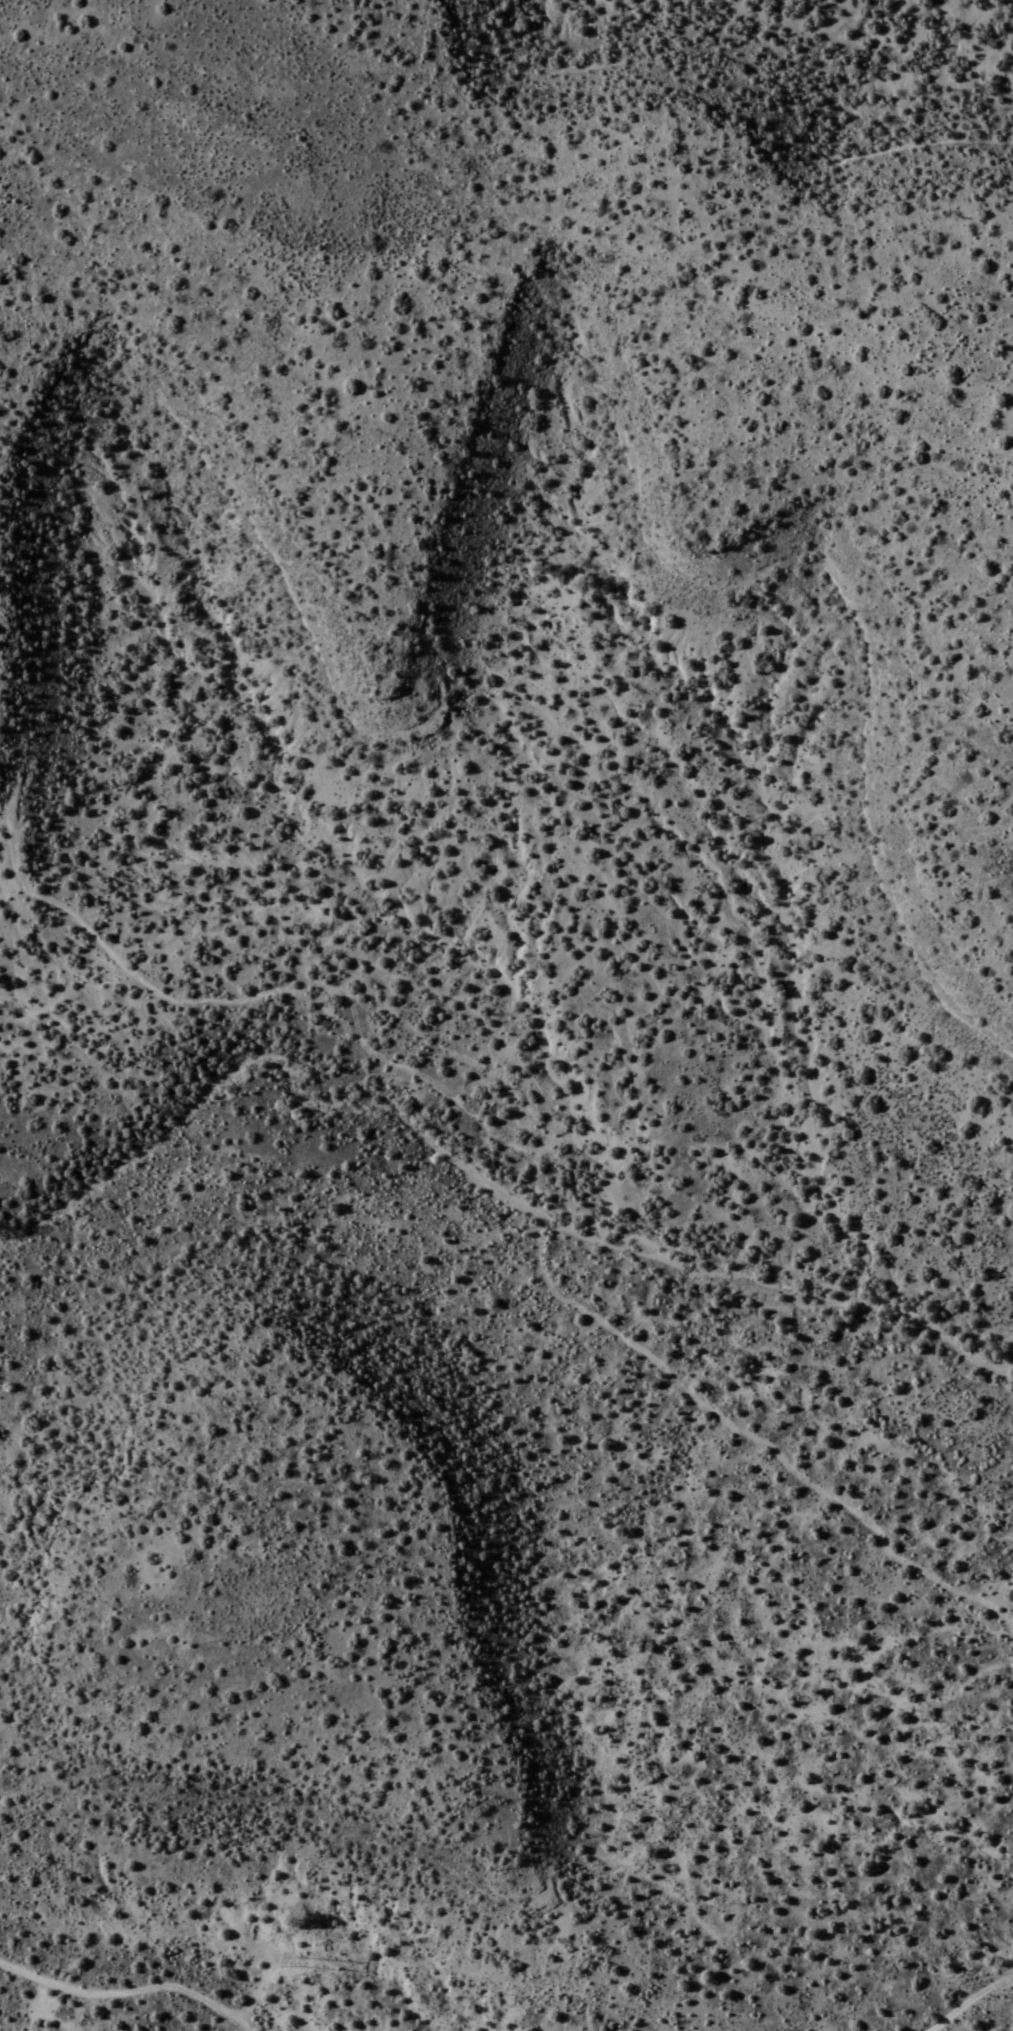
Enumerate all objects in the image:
road: (126, 1993)
road: (972, 2000)

